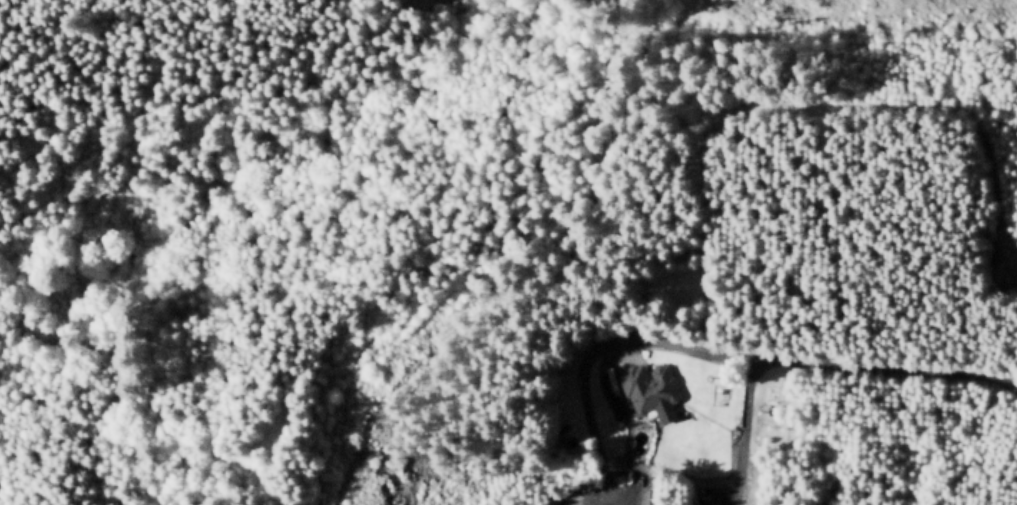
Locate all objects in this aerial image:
road: (605, 345)
road: (898, 367)
road: (611, 380)
building: (649, 388)
road: (745, 425)
building: (621, 463)
building: (589, 488)
building: (651, 497)

